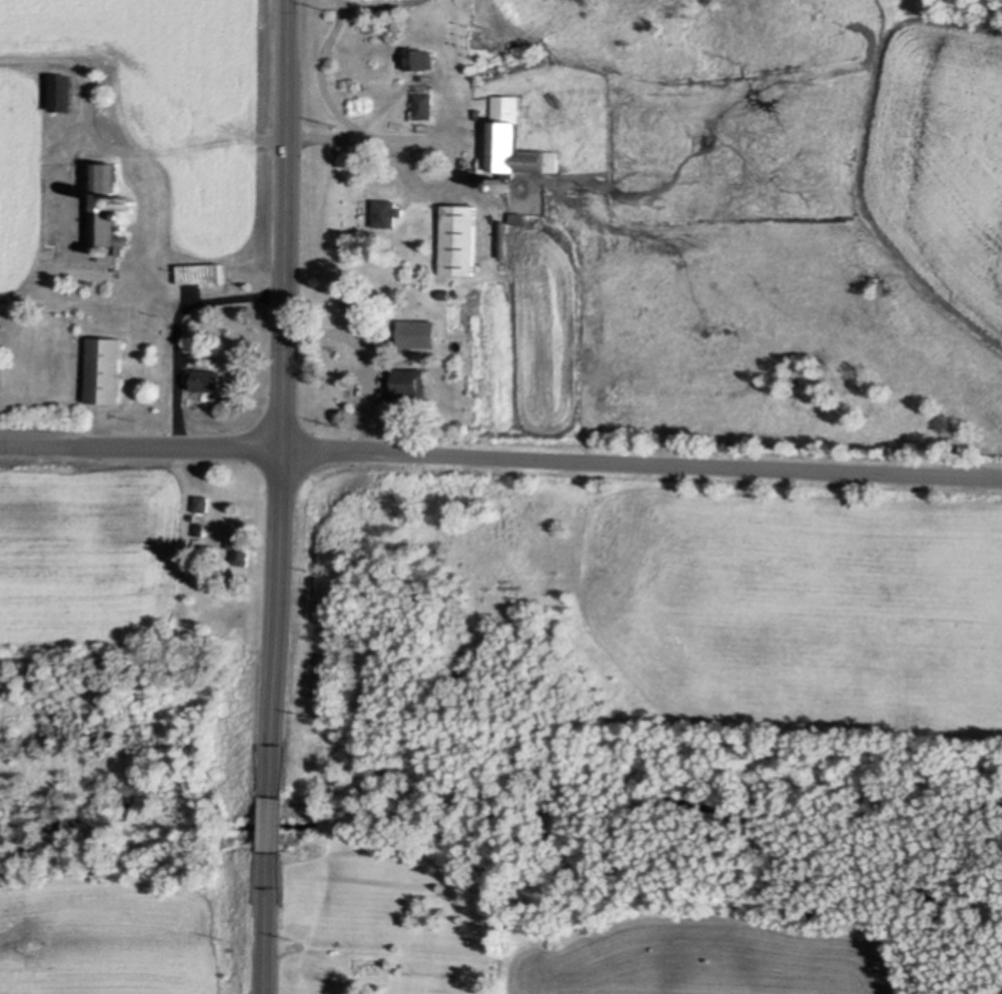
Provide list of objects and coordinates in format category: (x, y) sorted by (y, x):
building: (525, 48)
building: (420, 59)
building: (65, 92)
building: (425, 105)
building: (477, 113)
building: (513, 142)
building: (129, 200)
building: (108, 207)
building: (387, 212)
building: (519, 217)
building: (460, 238)
building: (505, 239)
building: (201, 272)
building: (447, 293)
road: (181, 320)
building: (420, 333)
building: (105, 368)
building: (206, 380)
road: (285, 381)
building: (410, 384)
road: (501, 457)
building: (202, 502)
building: (199, 527)
building: (241, 545)
road: (273, 820)
road: (268, 936)
building: (352, 993)

